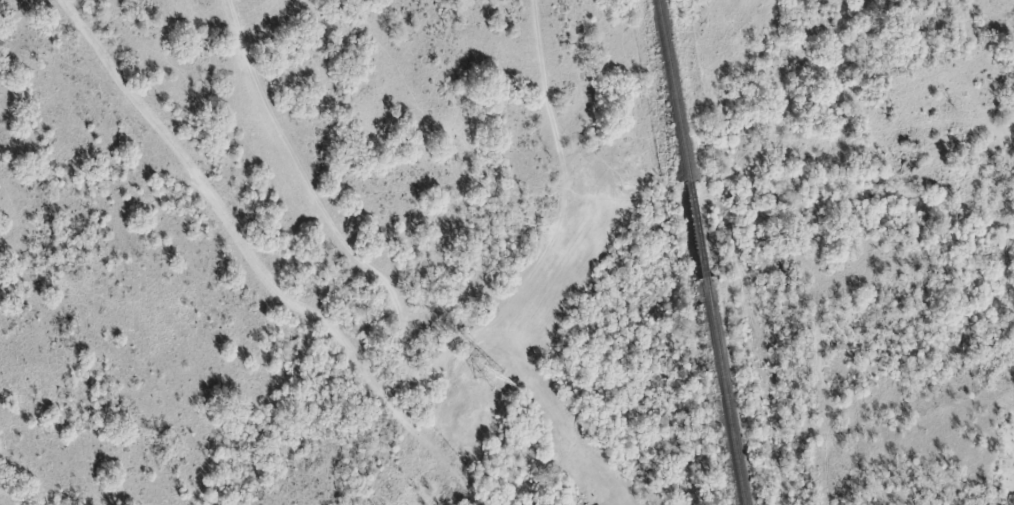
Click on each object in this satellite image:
railway: (697, 252)
power tower: (483, 375)

